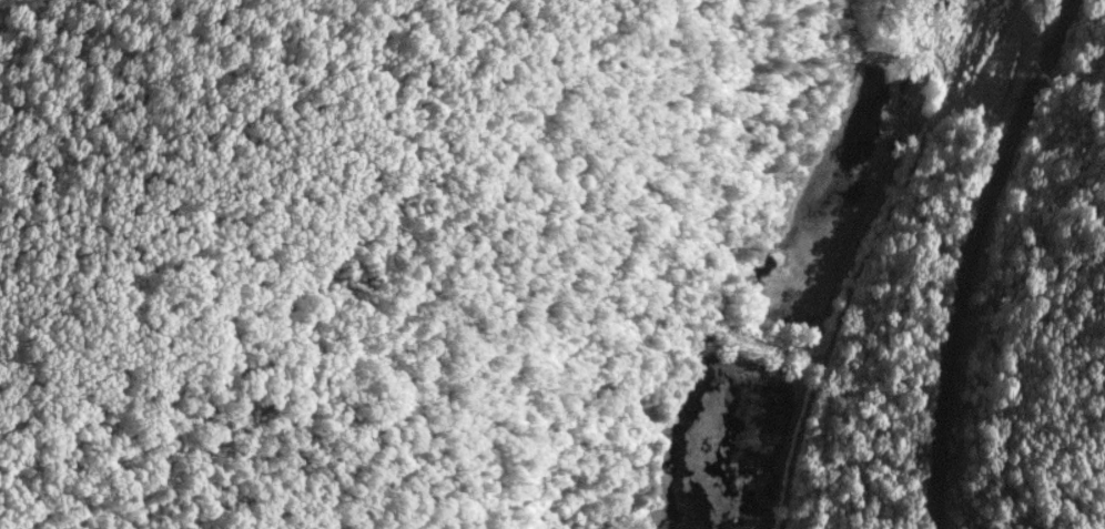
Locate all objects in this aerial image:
railway: (936, 256)

